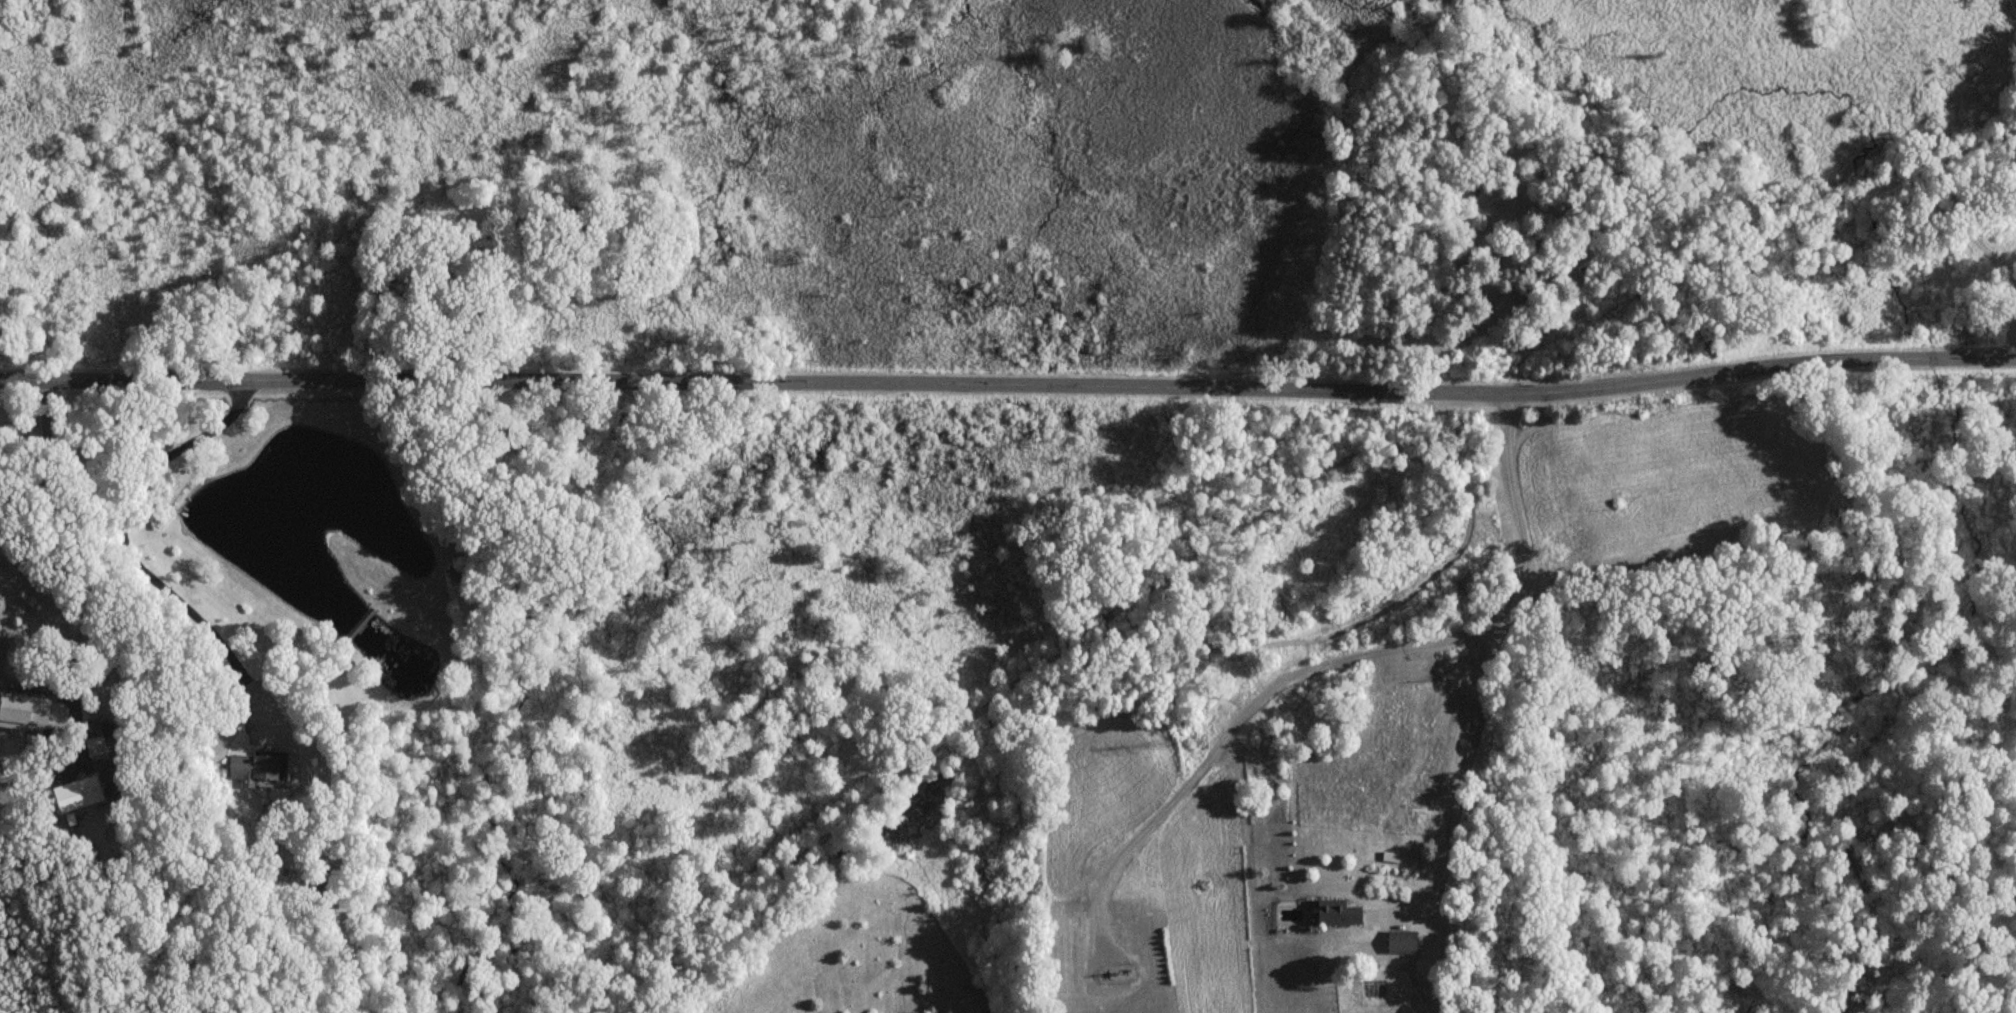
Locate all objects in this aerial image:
road: (1008, 385)
road: (83, 541)
road: (159, 579)
road: (1488, 659)
building: (22, 713)
building: (254, 766)
building: (93, 786)
building: (1334, 912)
building: (1401, 941)

